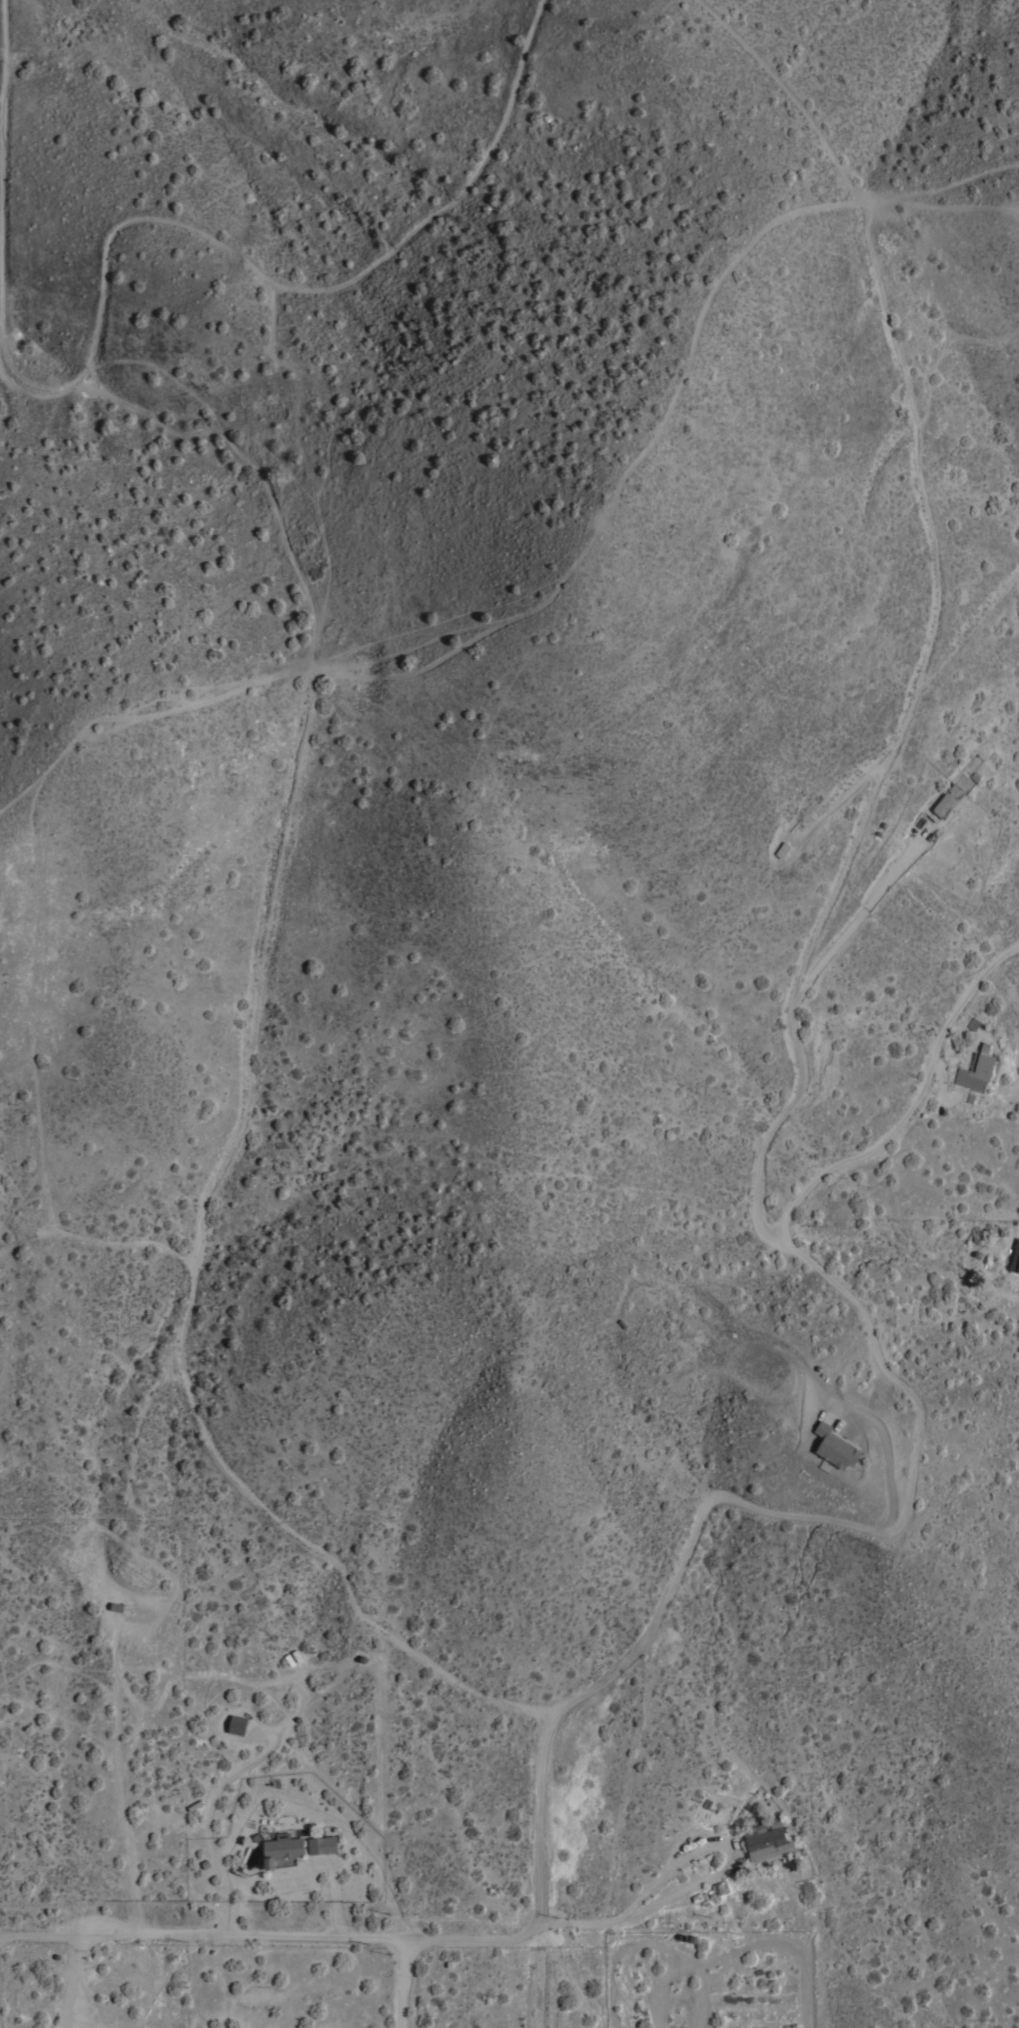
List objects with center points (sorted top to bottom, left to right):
road: (900, 735)
building: (952, 795)
building: (973, 1023)
building: (976, 1068)
building: (1015, 1257)
building: (835, 1446)
road: (885, 1452)
road: (822, 1519)
building: (120, 1606)
building: (237, 1723)
building: (768, 1840)
building: (322, 1843)
road: (732, 1846)
building: (281, 1847)
road: (577, 1922)
road: (246, 1934)
road: (44, 1936)
road: (70, 1971)

